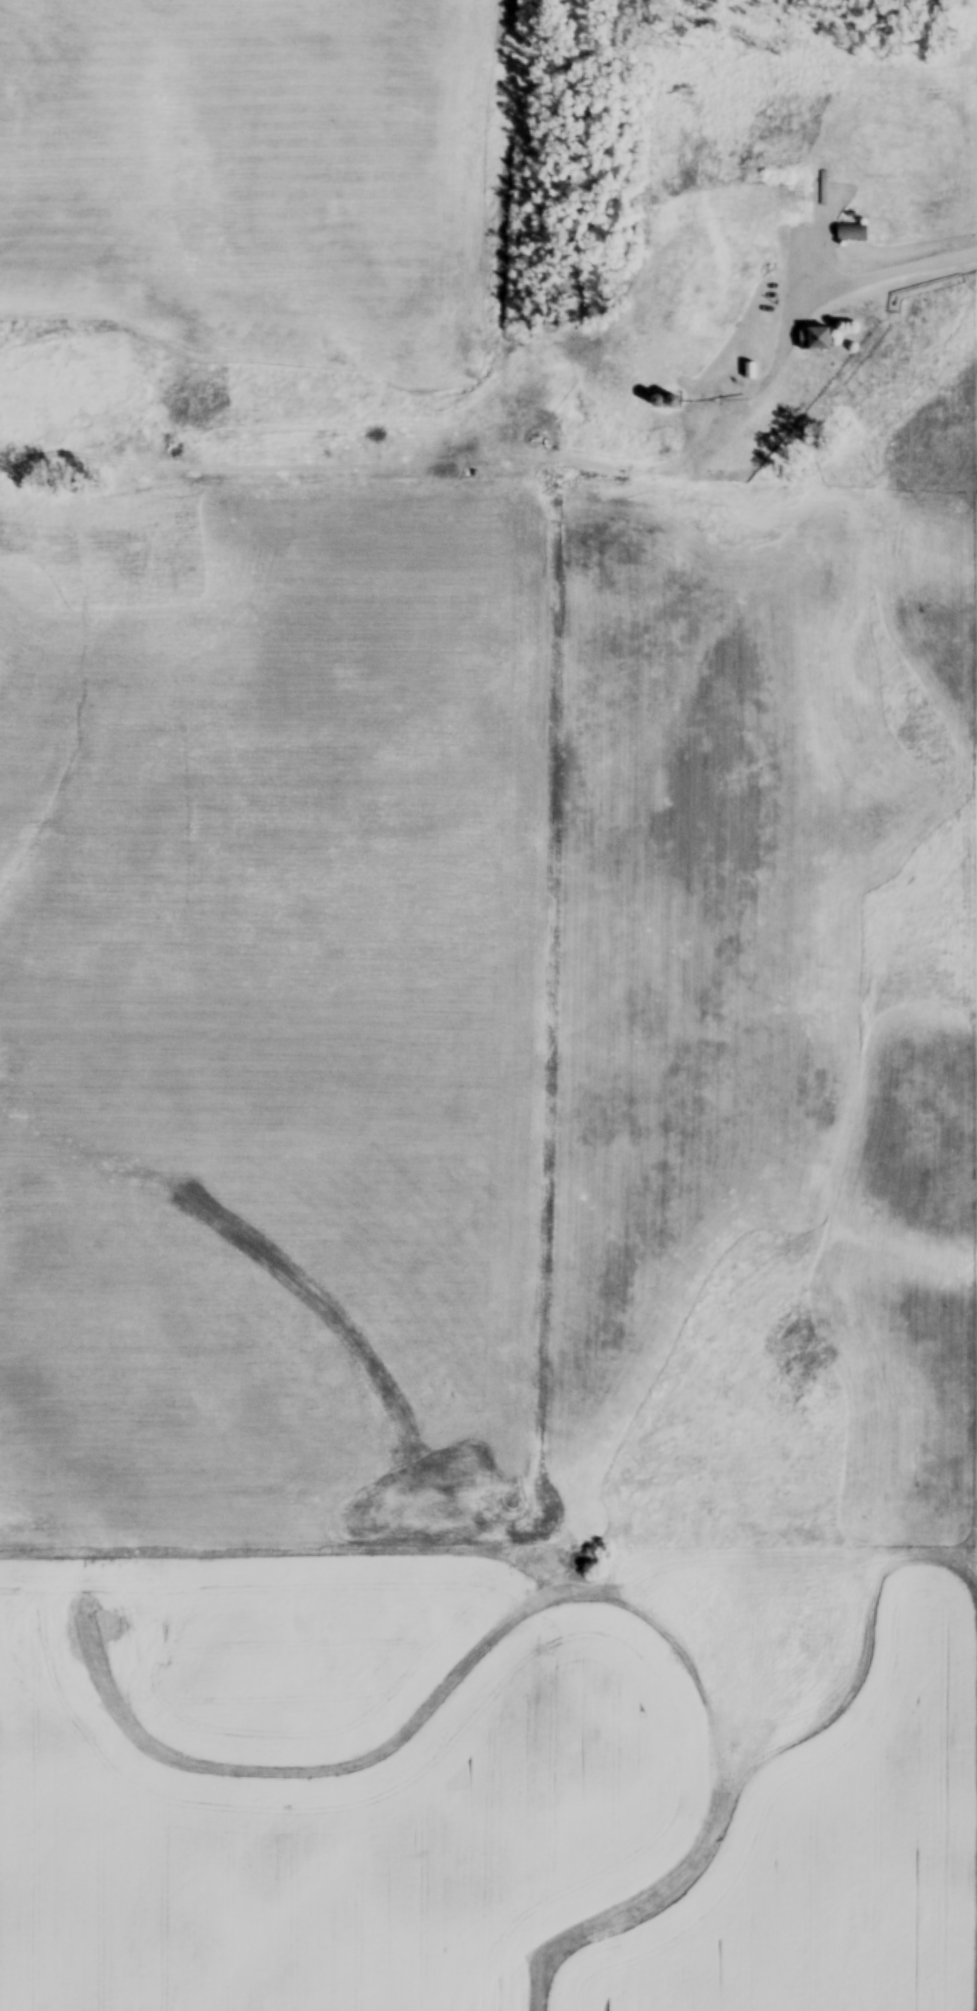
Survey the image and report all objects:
building: (793, 210)
building: (878, 233)
building: (851, 234)
road: (885, 267)
building: (816, 341)

